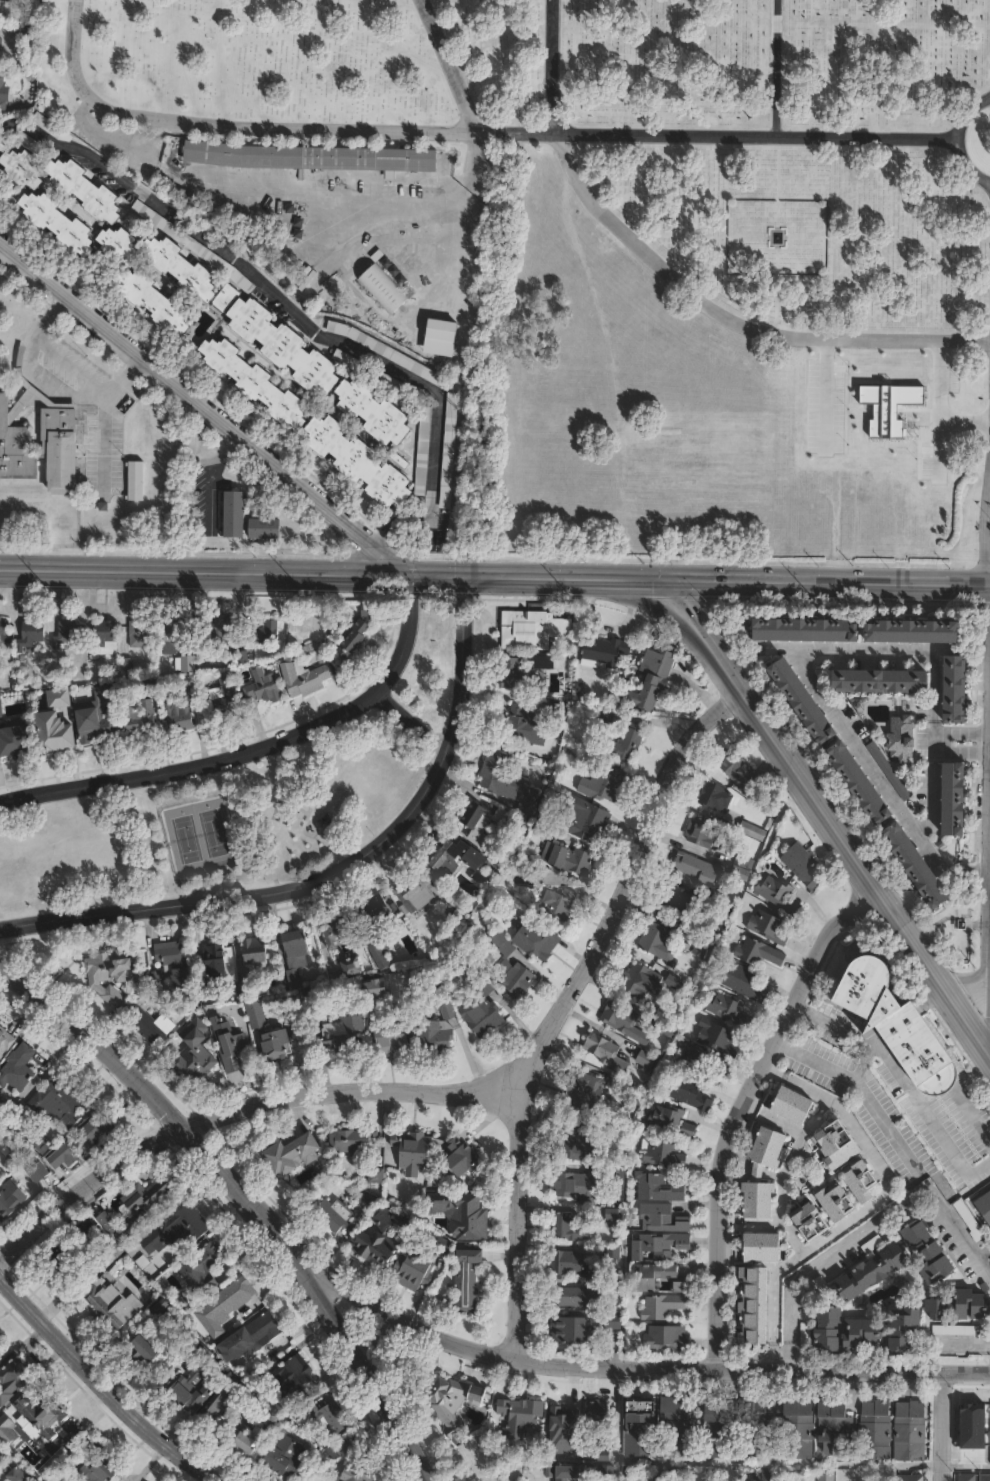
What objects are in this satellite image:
building: (4, 2)
building: (0, 7)
road: (888, 24)
building: (25, 34)
building: (2, 43)
road: (452, 65)
road: (558, 67)
road: (784, 68)
road: (889, 69)
building: (2, 95)
building: (49, 125)
road: (471, 133)
road: (958, 142)
building: (34, 145)
building: (311, 157)
building: (23, 168)
road: (469, 176)
building: (85, 190)
building: (184, 195)
building: (59, 222)
building: (180, 235)
park: (608, 238)
building: (119, 245)
building: (180, 268)
building: (243, 281)
building: (383, 289)
building: (227, 298)
building: (154, 300)
road: (51, 306)
road: (290, 312)
road: (734, 322)
building: (442, 324)
building: (284, 346)
building: (391, 354)
building: (343, 357)
road: (129, 370)
building: (255, 381)
road: (48, 386)
building: (403, 389)
road: (208, 410)
building: (373, 411)
road: (104, 440)
building: (39, 448)
building: (450, 450)
building: (424, 451)
building: (359, 461)
road: (206, 475)
building: (135, 480)
building: (235, 514)
building: (265, 528)
road: (494, 582)
building: (370, 609)
building: (4, 626)
building: (533, 627)
building: (810, 628)
building: (923, 629)
building: (220, 632)
building: (68, 633)
building: (260, 633)
building: (31, 634)
building: (140, 634)
building: (104, 635)
building: (354, 638)
building: (176, 639)
building: (302, 650)
building: (604, 650)
building: (188, 669)
building: (518, 675)
building: (304, 678)
building: (653, 678)
building: (879, 681)
building: (263, 686)
road: (816, 690)
building: (959, 691)
building: (227, 694)
building: (807, 700)
building: (558, 710)
building: (138, 715)
building: (180, 715)
building: (92, 724)
road: (412, 725)
building: (527, 725)
building: (52, 736)
building: (10, 738)
road: (931, 744)
building: (624, 745)
road: (252, 749)
building: (740, 769)
building: (890, 771)
building: (507, 782)
building: (864, 782)
building: (605, 783)
building: (715, 796)
building: (958, 798)
park: (234, 806)
road: (830, 816)
building: (584, 818)
building: (478, 827)
building: (547, 829)
building: (752, 829)
building: (702, 832)
building: (475, 858)
building: (573, 860)
building: (802, 864)
building: (921, 865)
building: (534, 868)
building: (698, 869)
building: (740, 873)
road: (338, 876)
building: (415, 893)
building: (779, 895)
building: (676, 898)
building: (558, 903)
building: (769, 928)
building: (380, 929)
building: (536, 940)
building: (658, 941)
building: (704, 943)
building: (297, 948)
building: (255, 951)
building: (758, 952)
building: (173, 954)
building: (215, 958)
building: (512, 969)
building: (112, 973)
building: (180, 978)
building: (294, 978)
building: (479, 978)
building: (641, 981)
building: (744, 982)
building: (310, 995)
road: (558, 1002)
building: (731, 1010)
building: (254, 1014)
building: (482, 1015)
building: (149, 1022)
building: (625, 1022)
building: (897, 1023)
building: (439, 1027)
building: (666, 1028)
building: (392, 1034)
building: (348, 1035)
building: (718, 1037)
building: (5, 1040)
building: (276, 1046)
building: (232, 1049)
building: (609, 1053)
building: (195, 1054)
building: (648, 1060)
building: (705, 1061)
building: (18, 1068)
road: (903, 1085)
road: (859, 1089)
building: (630, 1091)
building: (689, 1092)
building: (590, 1093)
building: (0, 1096)
road: (458, 1098)
building: (57, 1104)
road: (746, 1106)
building: (795, 1107)
building: (2, 1110)
building: (672, 1121)
building: (21, 1123)
road: (973, 1123)
road: (180, 1134)
building: (82, 1141)
building: (353, 1141)
building: (41, 1145)
building: (582, 1147)
building: (837, 1148)
building: (14, 1151)
building: (412, 1151)
building: (468, 1154)
building: (664, 1155)
building: (289, 1156)
building: (36, 1171)
building: (611, 1175)
building: (759, 1175)
building: (864, 1183)
building: (576, 1187)
building: (658, 1188)
road: (245, 1198)
building: (10, 1200)
building: (366, 1203)
building: (840, 1203)
building: (142, 1205)
road: (871, 1205)
building: (983, 1206)
building: (335, 1213)
building: (466, 1215)
building: (661, 1219)
building: (971, 1221)
building: (814, 1222)
building: (108, 1223)
building: (570, 1228)
building: (175, 1231)
road: (959, 1232)
building: (77, 1238)
building: (383, 1239)
building: (870, 1243)
building: (661, 1246)
building: (441, 1247)
building: (764, 1248)
building: (113, 1252)
building: (930, 1254)
road: (827, 1257)
building: (568, 1263)
building: (59, 1264)
building: (415, 1271)
building: (875, 1274)
building: (199, 1275)
building: (468, 1282)
building: (643, 1285)
building: (587, 1293)
building: (93, 1295)
building: (235, 1296)
building: (665, 1307)
building: (757, 1308)
building: (936, 1316)
building: (614, 1323)
building: (952, 1329)
building: (831, 1330)
building: (571, 1331)
building: (215, 1333)
building: (865, 1335)
building: (0, 1338)
building: (251, 1338)
building: (667, 1338)
building: (0, 1346)
building: (145, 1350)
road: (635, 1361)
building: (292, 1376)
building: (13, 1381)
road: (102, 1385)
building: (187, 1394)
building: (223, 1402)
building: (563, 1410)
building: (39, 1414)
building: (327, 1416)
building: (518, 1416)
building: (450, 1417)
building: (597, 1424)
road: (943, 1424)
building: (720, 1427)
building: (833, 1427)
building: (679, 1428)
building: (757, 1428)
building: (798, 1429)
building: (640, 1430)
building: (876, 1431)
building: (910, 1431)
building: (250, 1437)
building: (568, 1447)
building: (337, 1449)
building: (3, 1454)
building: (287, 1456)
road: (966, 1467)
building: (100, 1469)
building: (576, 1471)
building: (16, 1474)
building: (357, 1474)
building: (767, 1474)
building: (829, 1474)
building: (964, 1476)
building: (983, 1477)
building: (912, 1478)
building: (495, 1480)
building: (496, 1480)

